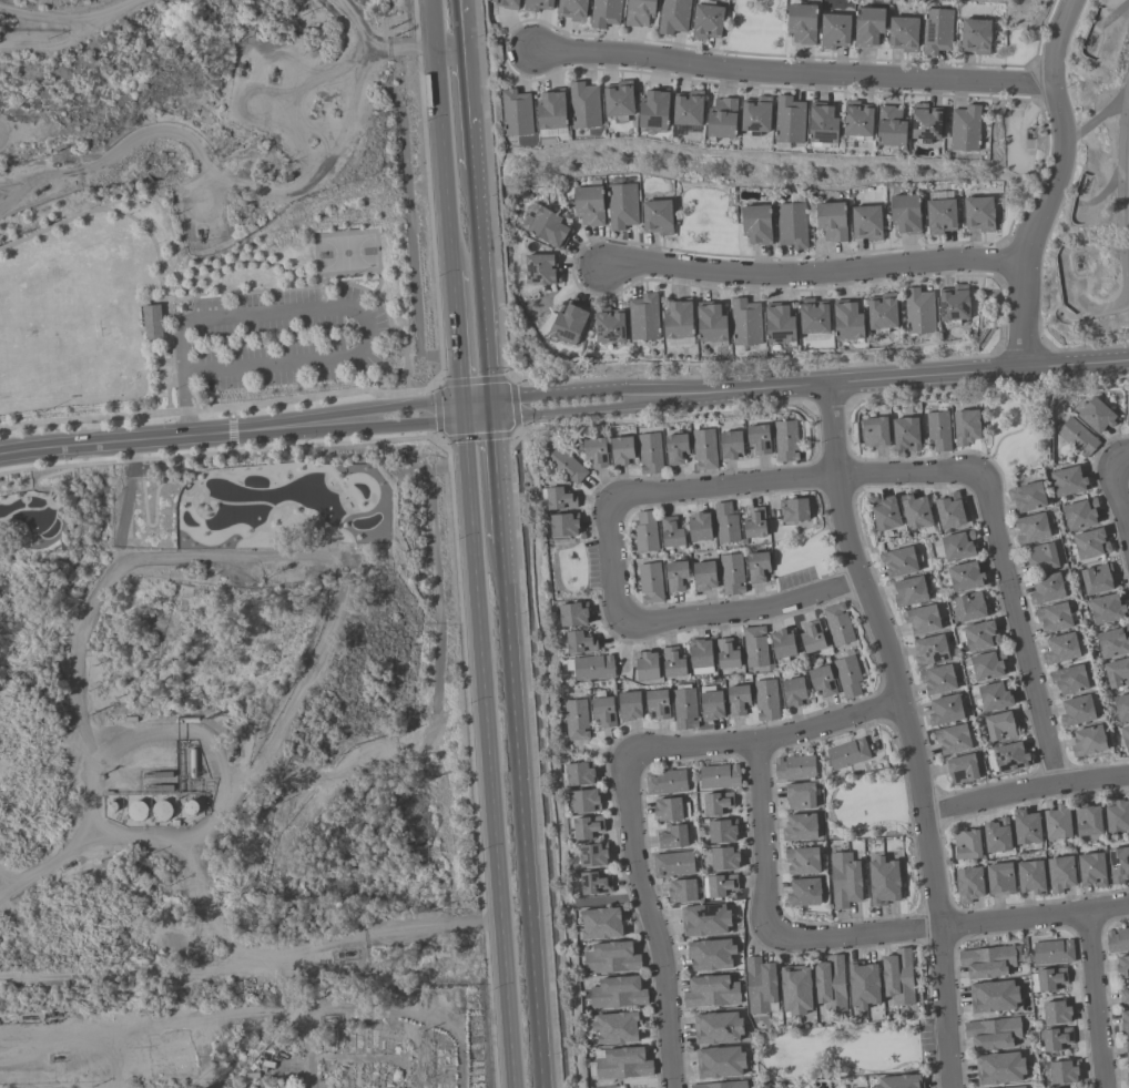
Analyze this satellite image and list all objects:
building: (507, 4)
building: (538, 4)
building: (572, 10)
building: (606, 13)
building: (640, 13)
road: (1115, 13)
building: (673, 17)
building: (706, 22)
building: (802, 24)
park: (754, 27)
building: (868, 27)
building: (937, 30)
building: (834, 31)
road: (1040, 32)
building: (904, 34)
building: (976, 37)
petroleum well: (1092, 38)
road: (502, 51)
petroleum well: (243, 71)
road: (438, 71)
road: (794, 73)
petroleum well: (273, 74)
road: (1035, 83)
road: (468, 95)
building: (620, 100)
building: (584, 105)
road: (1107, 109)
building: (689, 110)
building: (654, 111)
building: (551, 112)
road: (457, 114)
building: (517, 114)
building: (756, 116)
building: (722, 120)
building: (789, 121)
building: (857, 121)
building: (925, 124)
building: (823, 126)
building: (892, 129)
building: (966, 130)
road: (1040, 175)
petroleum well: (1085, 182)
road: (1050, 184)
petroleum well: (42, 187)
road: (1101, 195)
building: (589, 206)
building: (622, 206)
road: (448, 207)
building: (906, 215)
building: (979, 215)
building: (940, 216)
building: (658, 217)
park: (705, 217)
building: (832, 223)
building: (867, 224)
building: (756, 225)
building: (791, 226)
building: (549, 230)
road: (1121, 233)
road: (153, 241)
park: (347, 253)
road: (1001, 260)
road: (242, 262)
petroleum well: (1078, 263)
road: (572, 267)
building: (541, 271)
road: (810, 272)
road: (174, 277)
road: (326, 278)
road: (378, 282)
road: (323, 285)
road: (482, 302)
park: (216, 305)
building: (956, 305)
road: (327, 306)
building: (919, 313)
building: (883, 314)
road: (1000, 316)
building: (644, 318)
building: (813, 318)
building: (679, 322)
building: (151, 323)
building: (848, 323)
building: (746, 324)
building: (712, 325)
building: (568, 326)
building: (780, 326)
building: (608, 327)
road: (456, 344)
road: (898, 377)
road: (471, 382)
road: (573, 394)
road: (220, 407)
road: (574, 408)
traffic signals: (479, 410)
building: (1127, 410)
building: (1097, 415)
building: (965, 427)
road: (238, 430)
building: (938, 430)
building: (874, 431)
park: (1016, 431)
building: (905, 434)
road: (480, 437)
building: (1076, 437)
building: (757, 438)
building: (785, 440)
building: (730, 445)
building: (675, 448)
building: (703, 449)
road: (220, 451)
building: (621, 451)
building: (594, 453)
building: (649, 454)
road: (1121, 457)
road: (132, 458)
building: (566, 465)
parking lot: (140, 468)
road: (180, 476)
road: (796, 481)
building: (1067, 481)
building: (1027, 497)
building: (559, 498)
road: (1119, 499)
building: (793, 509)
building: (948, 511)
building: (884, 512)
building: (915, 512)
building: (1080, 514)
road: (121, 523)
road: (153, 523)
building: (725, 523)
building: (754, 523)
building: (563, 525)
building: (699, 527)
building: (1030, 528)
building: (644, 531)
building: (671, 532)
building: (1090, 543)
building: (957, 546)
park: (805, 549)
road: (240, 555)
building: (1041, 557)
building: (898, 562)
road: (614, 565)
building: (756, 567)
building: (731, 574)
building: (703, 576)
building: (675, 577)
building: (965, 577)
building: (1096, 579)
building: (650, 582)
building: (1046, 589)
building: (909, 591)
building: (970, 607)
building: (1106, 609)
road: (749, 611)
building: (572, 614)
building: (1054, 618)
building: (922, 619)
building: (837, 624)
road: (1019, 629)
building: (980, 635)
building: (811, 637)
building: (580, 642)
building: (782, 643)
building: (1112, 643)
building: (754, 647)
building: (1061, 648)
building: (929, 650)
building: (700, 652)
building: (726, 653)
building: (672, 662)
building: (647, 665)
building: (987, 665)
building: (592, 667)
building: (701, 670)
building: (1117, 673)
building: (847, 677)
building: (937, 680)
building: (1069, 680)
building: (822, 681)
road: (435, 684)
building: (793, 692)
building: (994, 695)
building: (738, 700)
building: (765, 700)
building: (658, 703)
building: (629, 705)
building: (711, 705)
building: (1121, 708)
building: (683, 709)
building: (945, 710)
building: (1076, 711)
building: (603, 712)
building: (576, 720)
building: (1000, 725)
road: (170, 730)
road: (907, 732)
road: (765, 736)
building: (1125, 736)
building: (953, 739)
building: (1087, 741)
road: (44, 750)
building: (847, 754)
building: (1010, 756)
building: (793, 767)
building: (962, 769)
building: (578, 773)
road: (506, 776)
building: (719, 776)
building: (664, 782)
road: (1025, 791)
building: (800, 795)
building: (584, 801)
building: (718, 803)
park: (865, 805)
building: (668, 809)
building: (162, 810)
building: (136, 811)
building: (1117, 816)
building: (1087, 821)
building: (1057, 823)
building: (800, 826)
building: (587, 827)
building: (1026, 827)
building: (722, 831)
road: (762, 833)
building: (996, 835)
building: (672, 837)
building: (966, 844)
building: (592, 855)
building: (724, 858)
building: (802, 861)
building: (672, 864)
building: (1118, 865)
building: (1091, 870)
building: (1060, 873)
building: (1030, 877)
building: (999, 878)
building: (844, 879)
road: (4, 881)
building: (883, 881)
building: (596, 883)
building: (969, 884)
building: (681, 891)
building: (804, 892)
building: (704, 919)
building: (600, 923)
road: (654, 925)
road: (950, 926)
road: (225, 939)
building: (1117, 939)
building: (1052, 952)
building: (710, 955)
building: (609, 957)
building: (986, 962)
building: (1122, 966)
road: (123, 975)
building: (897, 977)
building: (1049, 978)
building: (830, 983)
building: (760, 985)
building: (863, 985)
building: (795, 990)
building: (711, 992)
building: (618, 993)
building: (993, 996)
building: (1123, 997)
road: (1096, 999)
building: (1056, 1011)
building: (1125, 1021)
building: (616, 1027)
building: (716, 1028)
building: (991, 1034)
building: (1056, 1038)
park: (842, 1049)
building: (1127, 1051)
petroleum well: (57, 1058)
building: (720, 1061)
building: (621, 1064)
building: (999, 1068)
building: (1062, 1071)
building: (1127, 1075)
building: (899, 1081)
building: (720, 1085)
building: (1018, 1087)
building: (1075, 1087)

